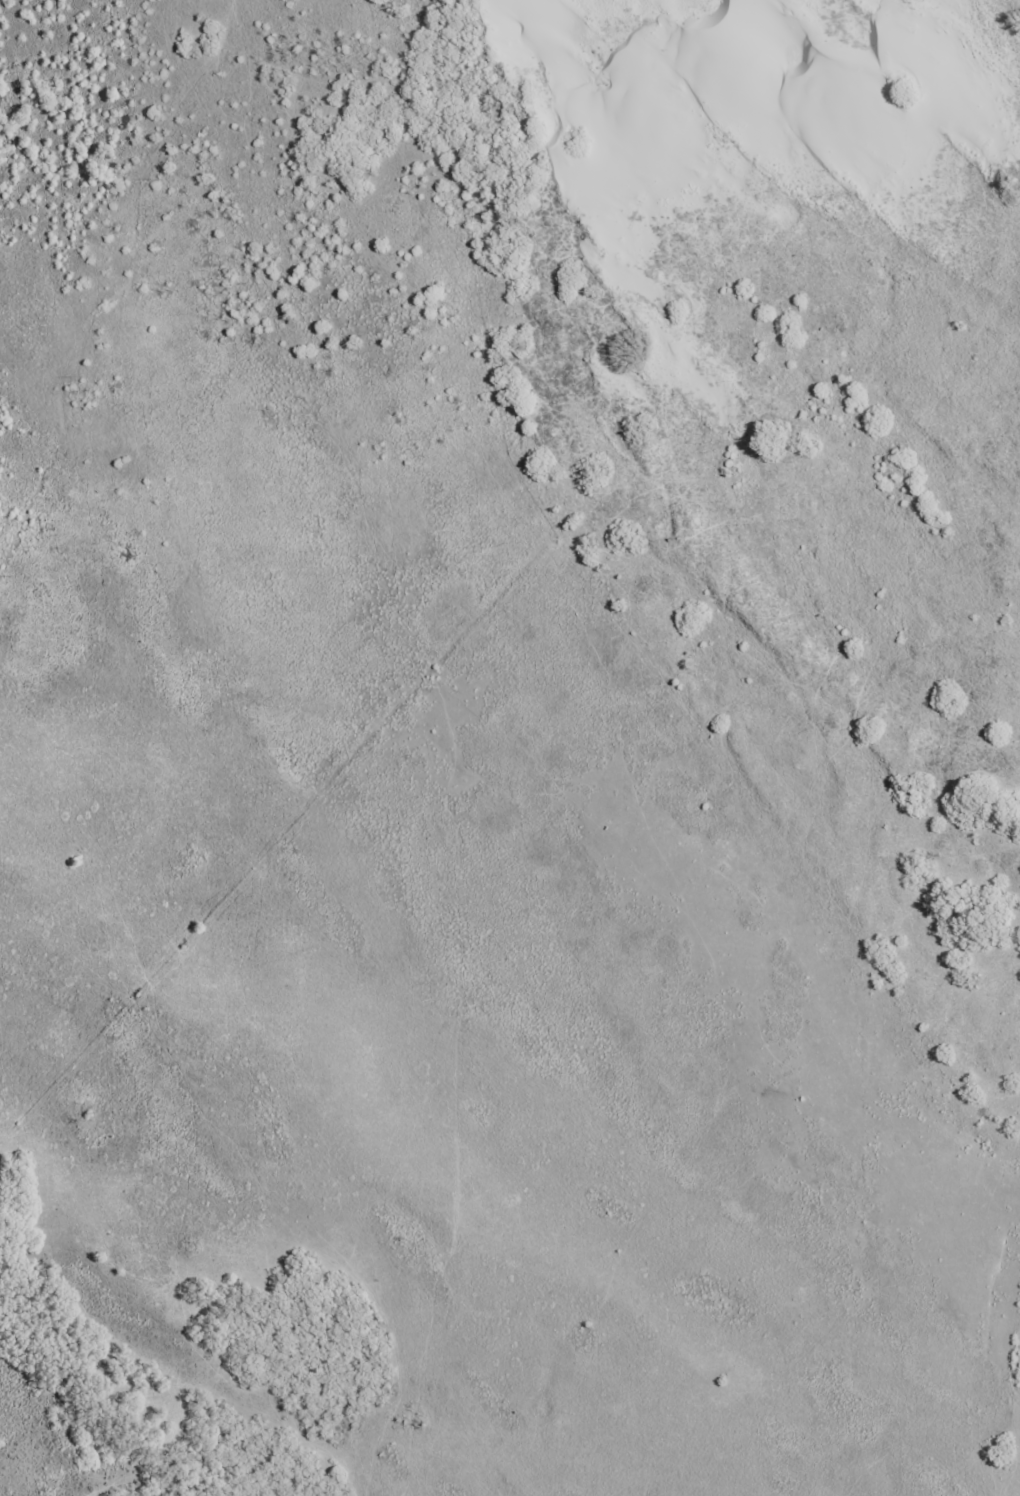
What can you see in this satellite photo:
road: (914, 743)

